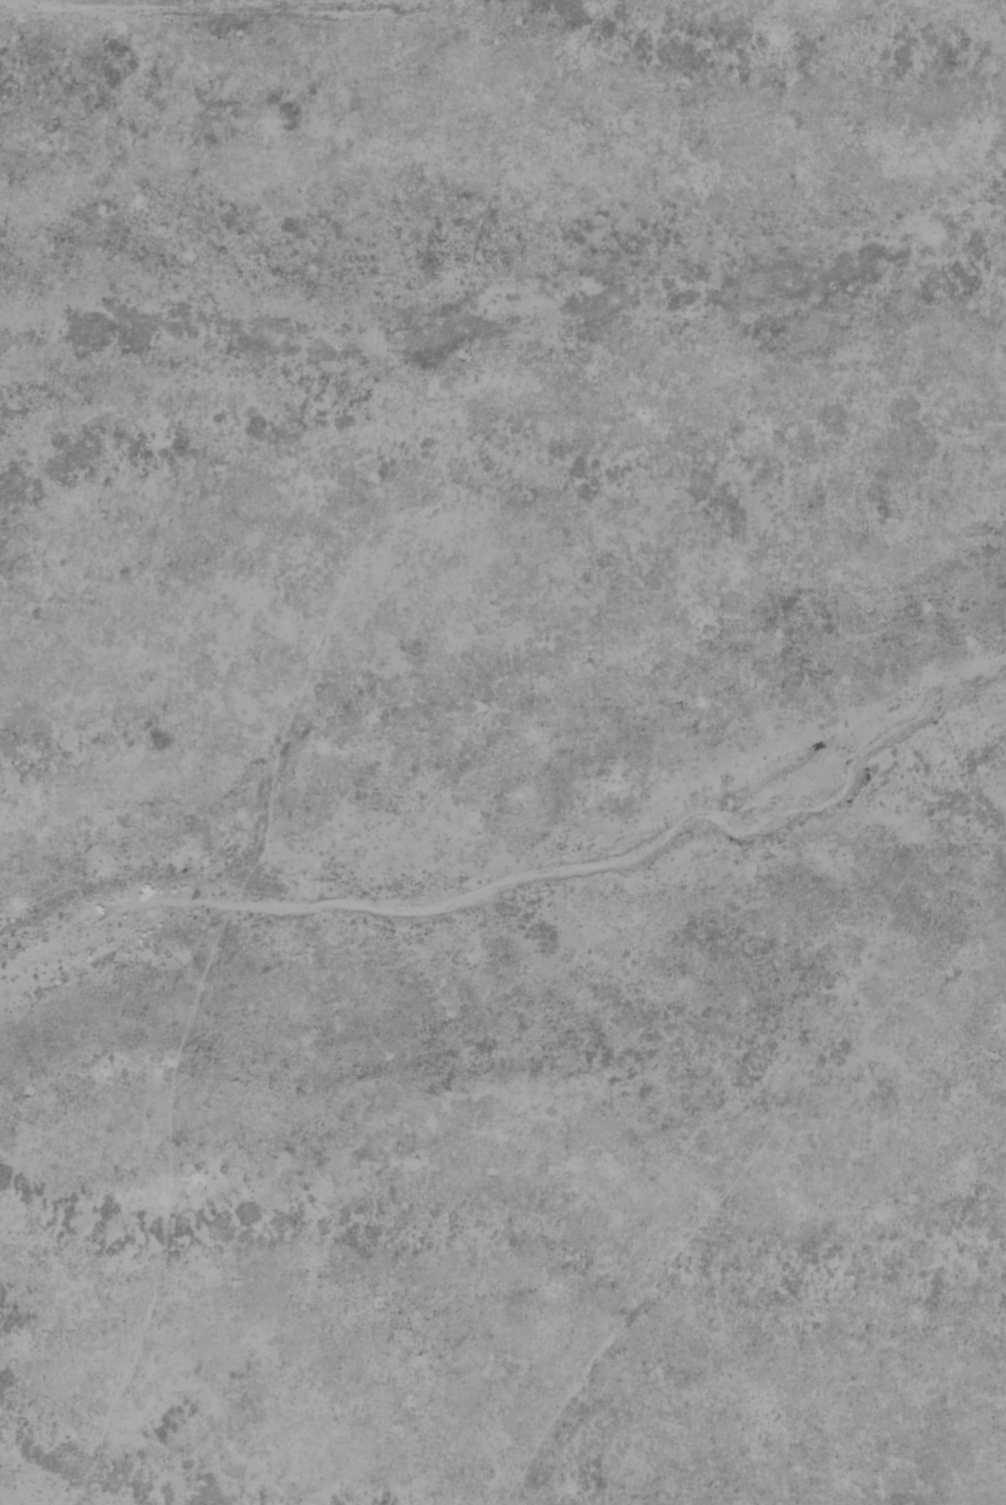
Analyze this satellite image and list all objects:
road: (67, 10)

